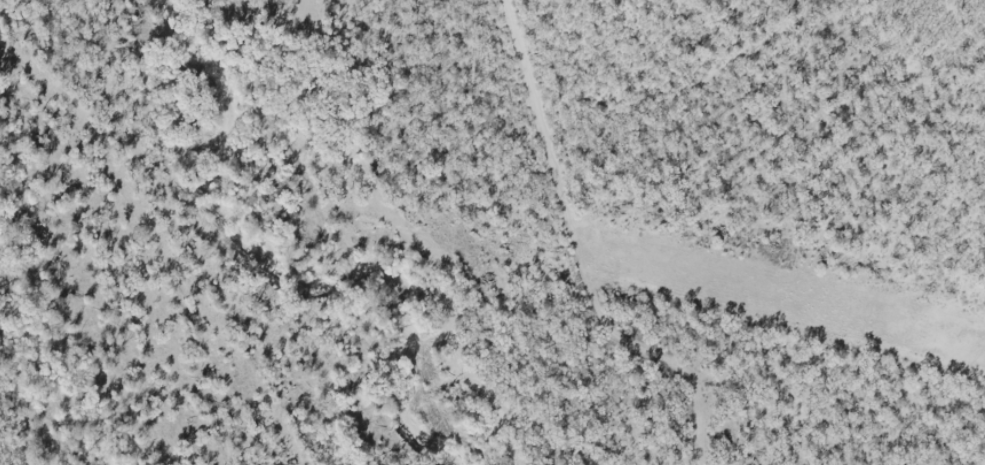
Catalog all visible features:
river: (275, 256)

